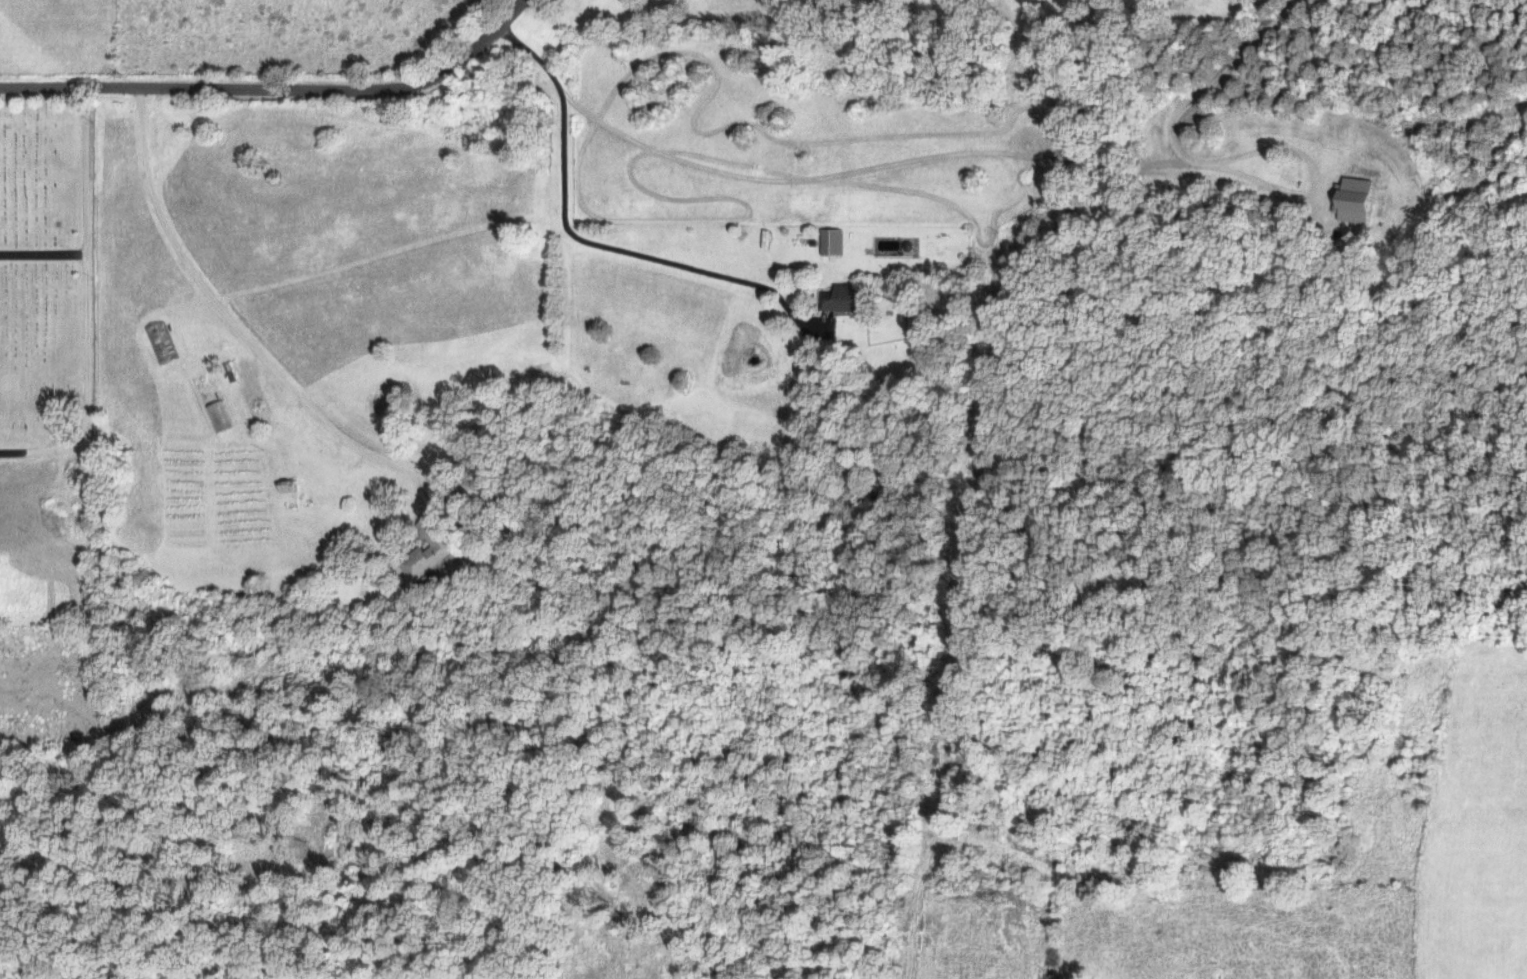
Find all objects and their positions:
road: (274, 89)
road: (1200, 102)
building: (1358, 200)
road: (588, 240)
building: (832, 241)
road: (43, 252)
park: (47, 275)
building: (842, 298)
road: (86, 301)
road: (240, 331)
building: (434, 555)

